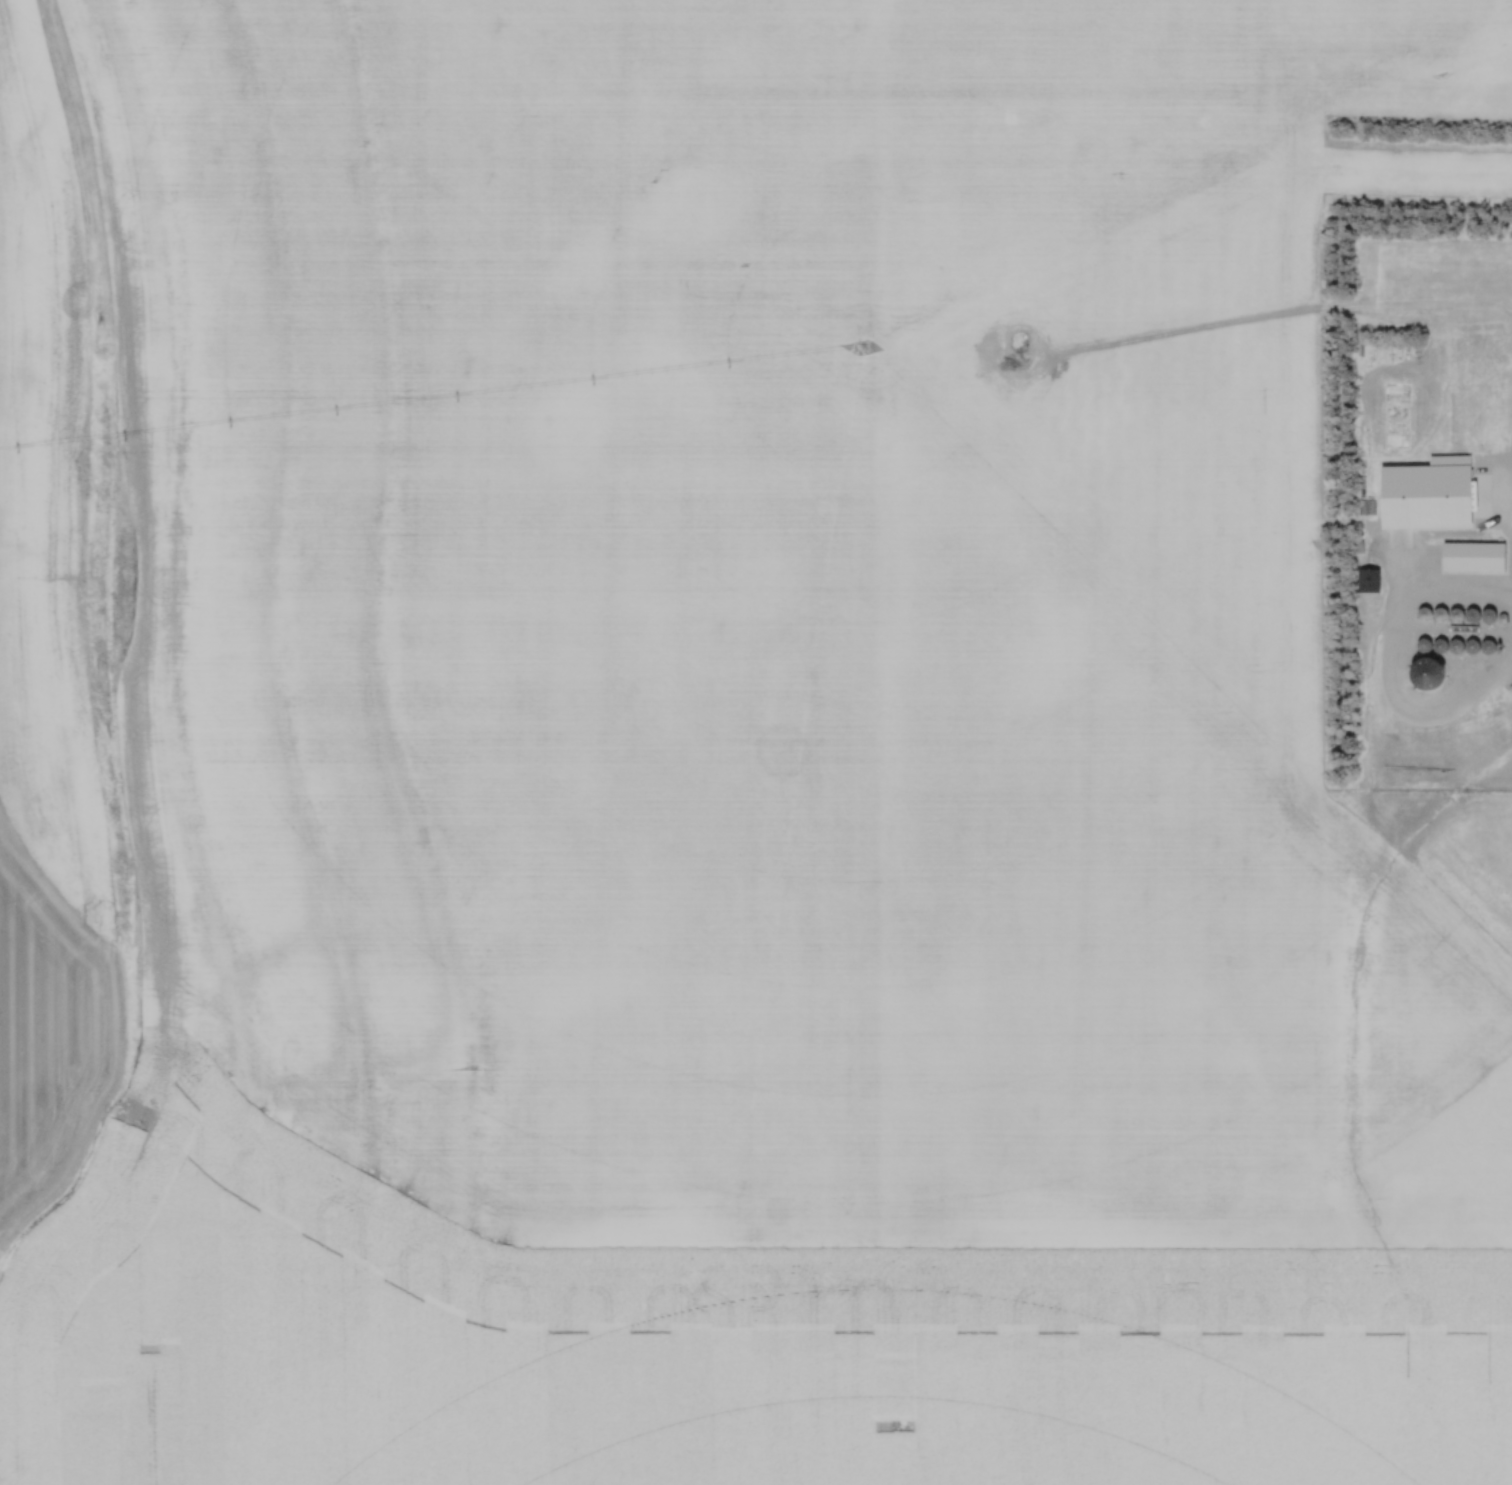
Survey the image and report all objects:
building: (1364, 505)
building: (1469, 555)
building: (1364, 579)
building: (1420, 673)

